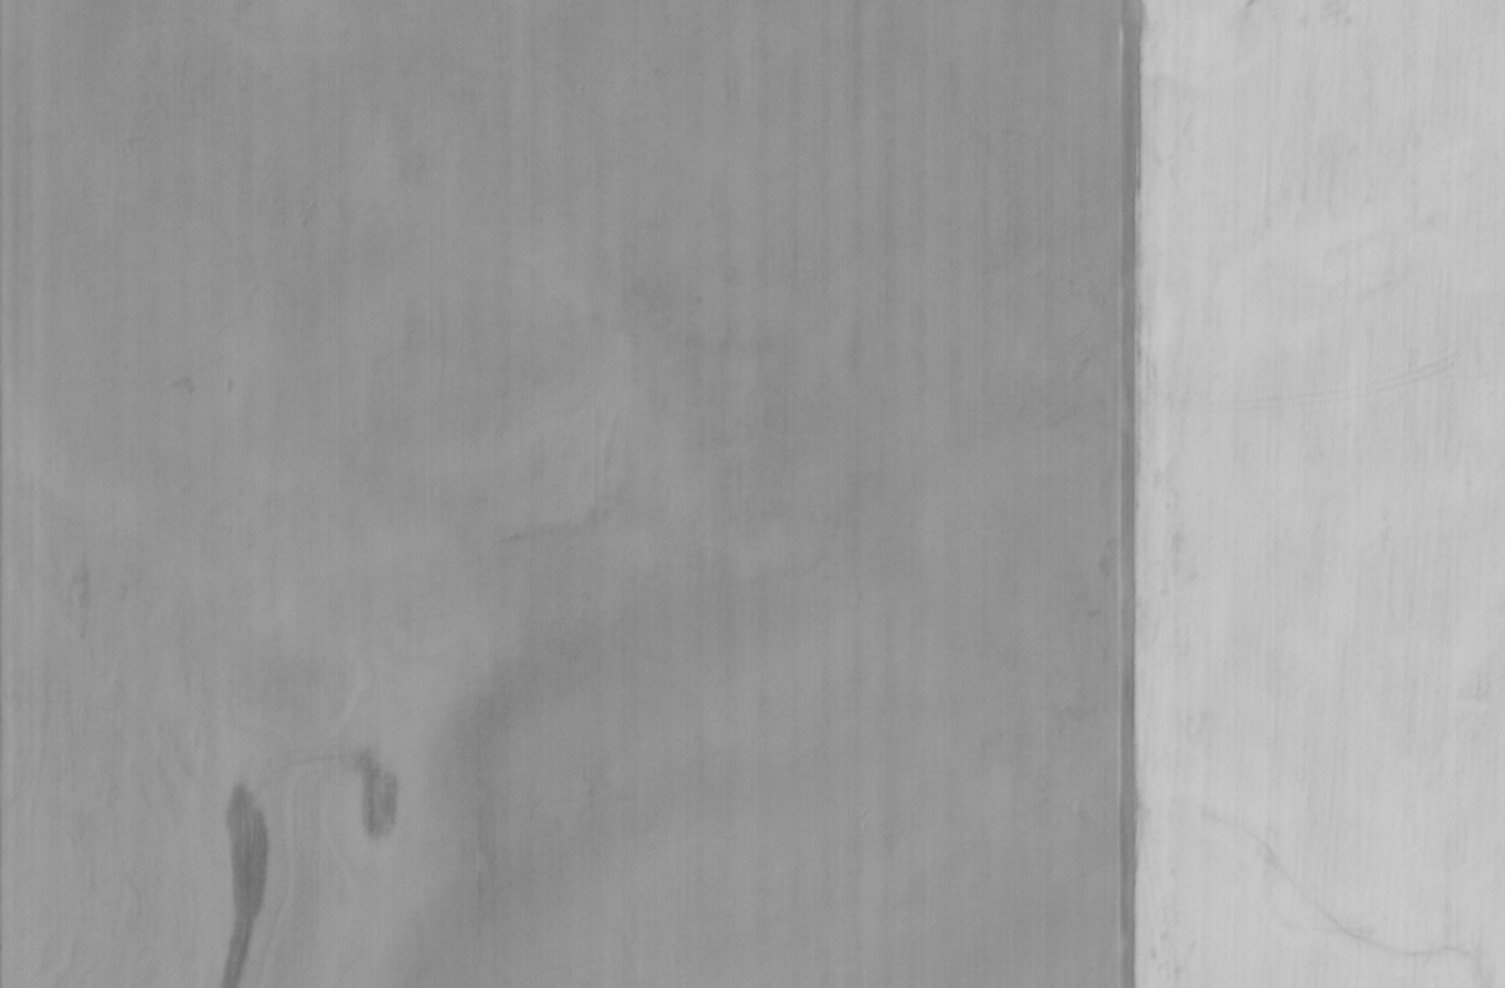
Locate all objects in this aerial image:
road: (1144, 493)
road: (3, 494)

